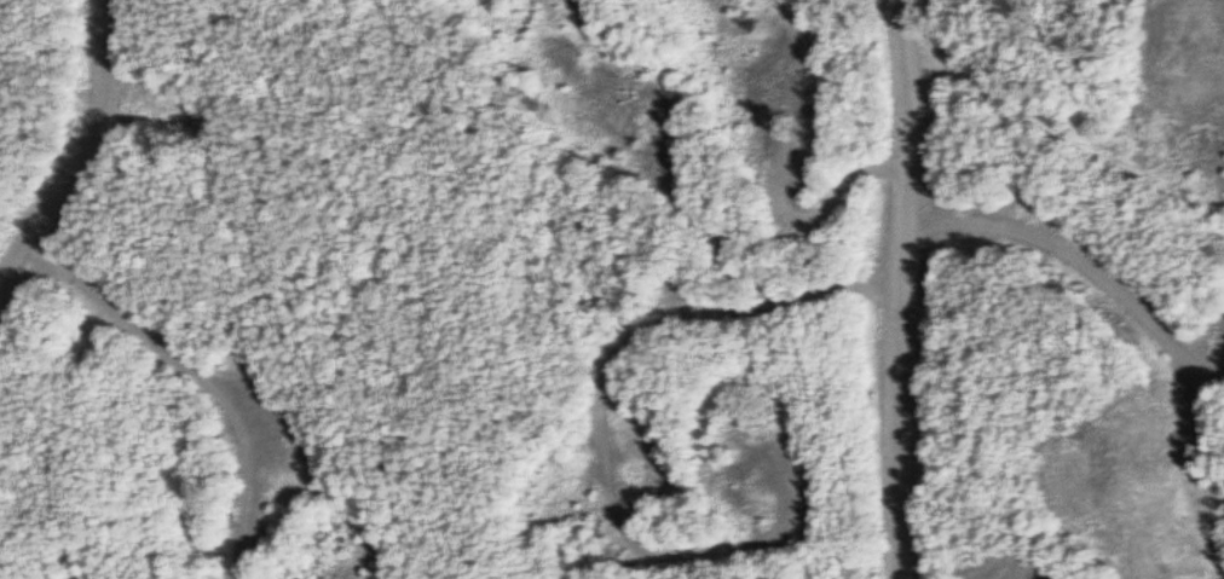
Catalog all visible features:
road: (80, 150)
road: (1076, 262)
road: (902, 288)
road: (200, 376)

